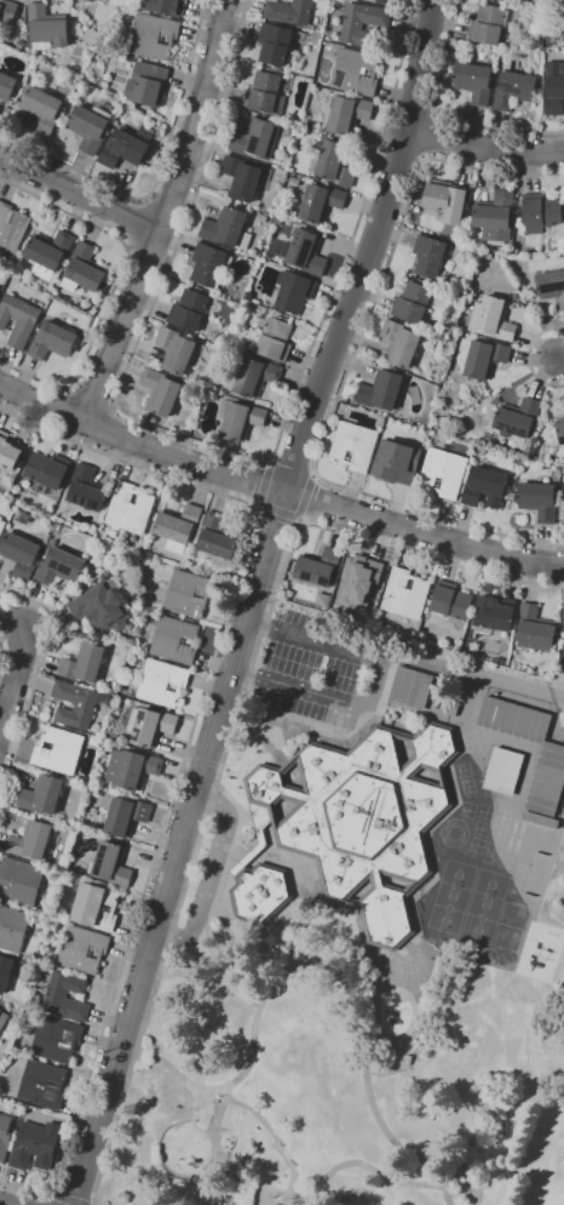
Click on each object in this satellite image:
building: (93, 0)
building: (503, 0)
building: (386, 1)
building: (165, 6)
building: (8, 11)
building: (288, 11)
building: (362, 23)
building: (488, 24)
building: (534, 24)
building: (47, 27)
building: (563, 32)
building: (5, 36)
building: (155, 36)
building: (535, 40)
building: (21, 45)
building: (274, 45)
building: (355, 72)
building: (98, 80)
building: (148, 82)
building: (473, 82)
building: (10, 86)
building: (513, 88)
building: (554, 88)
building: (265, 92)
building: (42, 109)
road: (414, 113)
building: (347, 114)
road: (443, 115)
building: (310, 126)
building: (90, 127)
road: (432, 137)
building: (253, 138)
road: (484, 145)
building: (123, 149)
road: (402, 152)
building: (335, 164)
road: (156, 177)
building: (242, 178)
road: (79, 195)
building: (444, 200)
building: (321, 202)
building: (540, 212)
road: (165, 213)
building: (494, 216)
building: (263, 217)
building: (278, 221)
road: (136, 222)
building: (12, 227)
building: (228, 228)
building: (552, 246)
building: (48, 252)
building: (304, 252)
building: (472, 253)
building: (428, 256)
building: (209, 263)
building: (84, 269)
building: (551, 285)
road: (114, 286)
building: (294, 290)
building: (249, 296)
building: (513, 297)
building: (413, 302)
building: (189, 310)
building: (493, 318)
building: (19, 319)
building: (271, 338)
building: (52, 341)
building: (401, 343)
building: (175, 350)
building: (480, 356)
road: (528, 356)
road: (562, 365)
road: (347, 372)
building: (255, 376)
building: (381, 390)
building: (162, 392)
road: (92, 396)
building: (240, 418)
building: (517, 421)
building: (560, 432)
building: (353, 445)
road: (215, 447)
building: (10, 451)
building: (396, 461)
road: (267, 463)
building: (46, 472)
building: (443, 473)
road: (313, 474)
road: (264, 484)
building: (487, 487)
building: (87, 489)
road: (277, 490)
road: (305, 496)
building: (12, 498)
building: (539, 501)
road: (255, 507)
building: (130, 508)
road: (277, 510)
building: (562, 515)
building: (23, 516)
road: (300, 521)
building: (1, 525)
building: (178, 527)
building: (218, 537)
building: (48, 538)
building: (21, 555)
building: (59, 567)
building: (318, 567)
building: (358, 581)
building: (189, 593)
building: (405, 593)
building: (451, 600)
road: (252, 601)
building: (102, 606)
building: (495, 612)
road: (259, 626)
building: (563, 628)
building: (535, 629)
building: (175, 640)
road: (1, 646)
building: (84, 663)
road: (19, 668)
road: (244, 673)
road: (36, 678)
building: (162, 681)
road: (376, 685)
building: (412, 687)
building: (77, 703)
building: (514, 719)
building: (149, 725)
road: (232, 731)
road: (188, 744)
building: (59, 749)
building: (132, 769)
building: (503, 771)
building: (547, 781)
building: (42, 794)
building: (123, 813)
building: (364, 817)
building: (540, 819)
building: (260, 835)
building: (31, 840)
building: (111, 866)
road: (209, 868)
park: (457, 874)
building: (19, 881)
park: (490, 883)
building: (260, 892)
building: (96, 907)
park: (448, 908)
park: (479, 916)
building: (13, 927)
building: (84, 949)
building: (5, 971)
building: (65, 995)
road: (347, 999)
building: (2, 1018)
building: (416, 1035)
building: (57, 1039)
building: (44, 1084)
road: (215, 1086)
park: (339, 1086)
building: (4, 1098)
building: (5, 1136)
building: (35, 1144)
road: (289, 1165)
road: (340, 1165)
road: (430, 1173)
road: (447, 1195)
road: (70, 1199)
road: (1, 1204)

